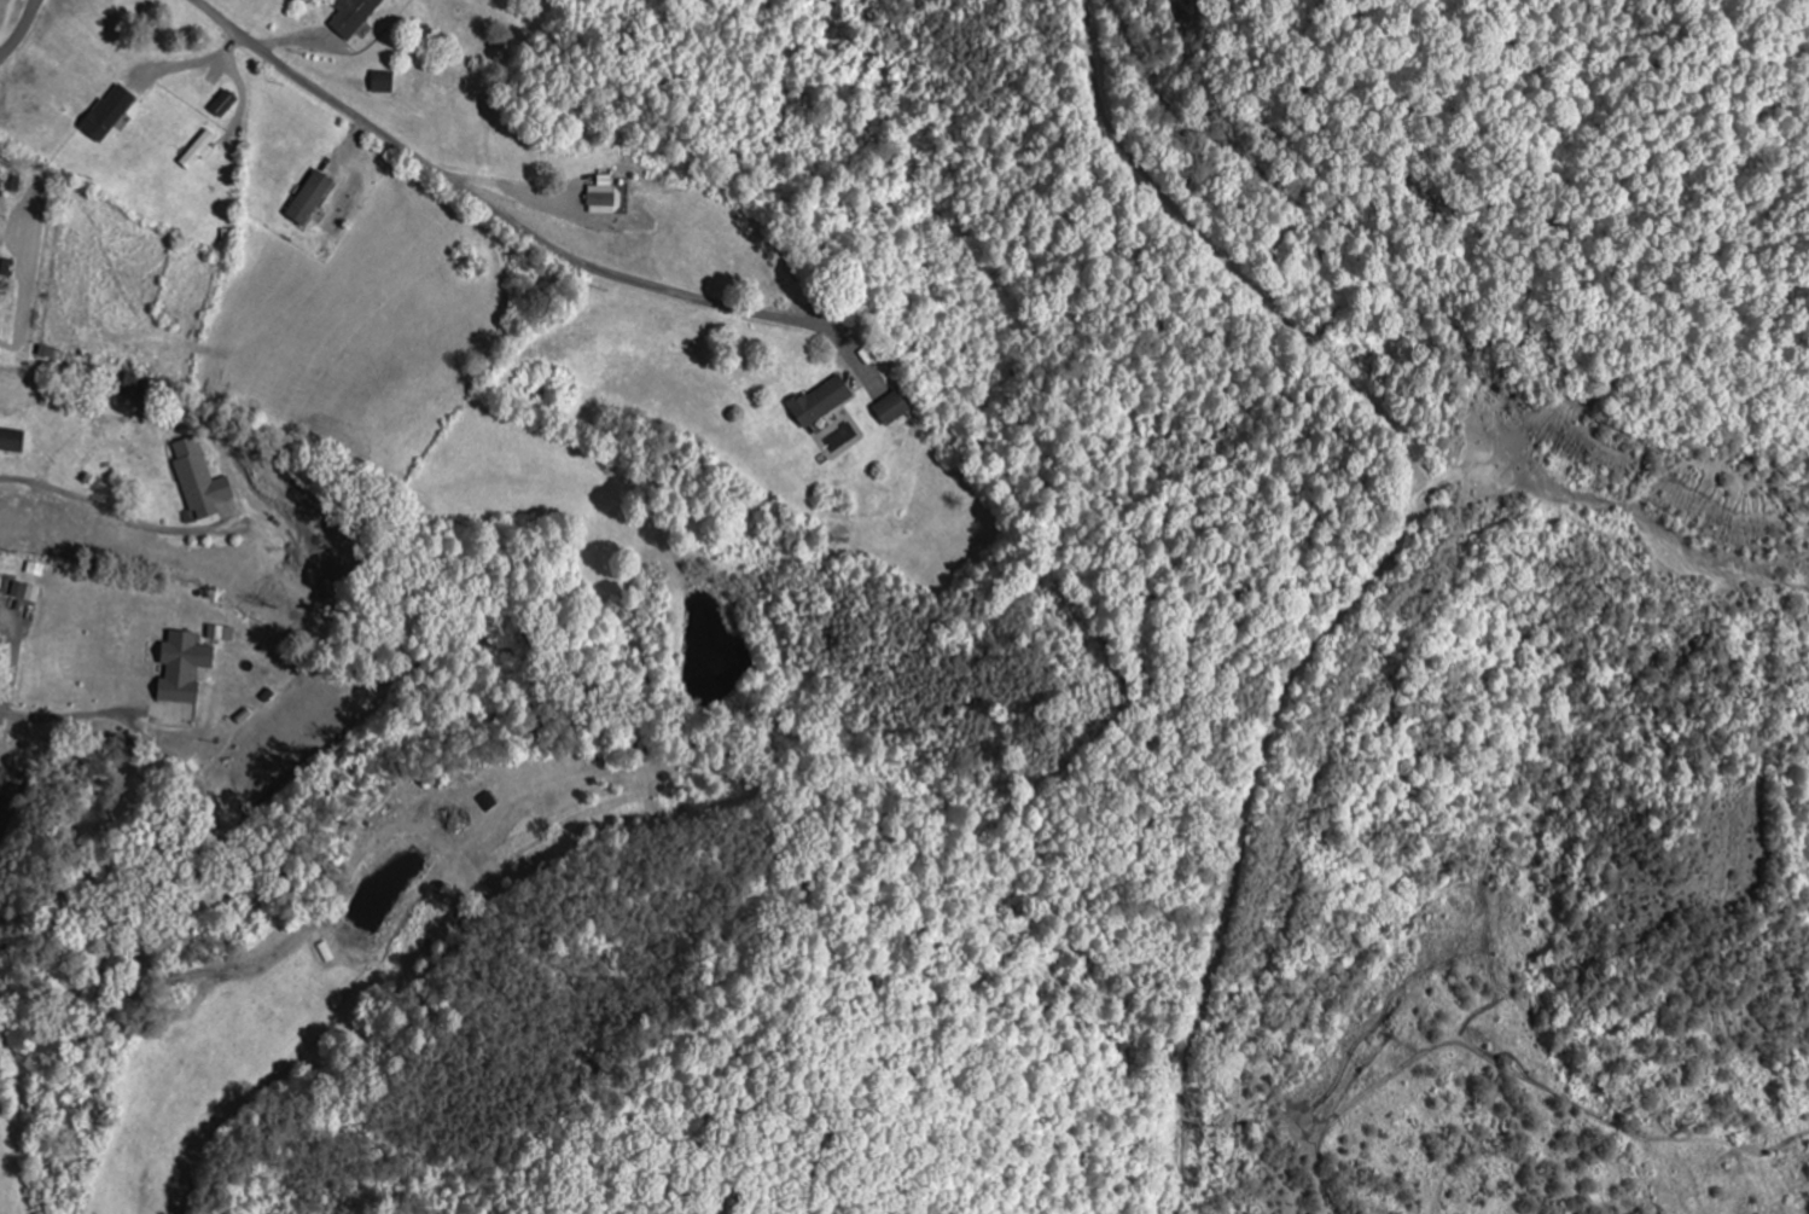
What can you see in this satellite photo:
building: (354, 16)
road: (21, 31)
building: (383, 83)
building: (223, 105)
building: (109, 114)
building: (198, 152)
building: (601, 197)
building: (310, 198)
road: (519, 230)
building: (821, 402)
building: (892, 409)
building: (12, 441)
building: (27, 593)
building: (221, 634)
building: (184, 668)

